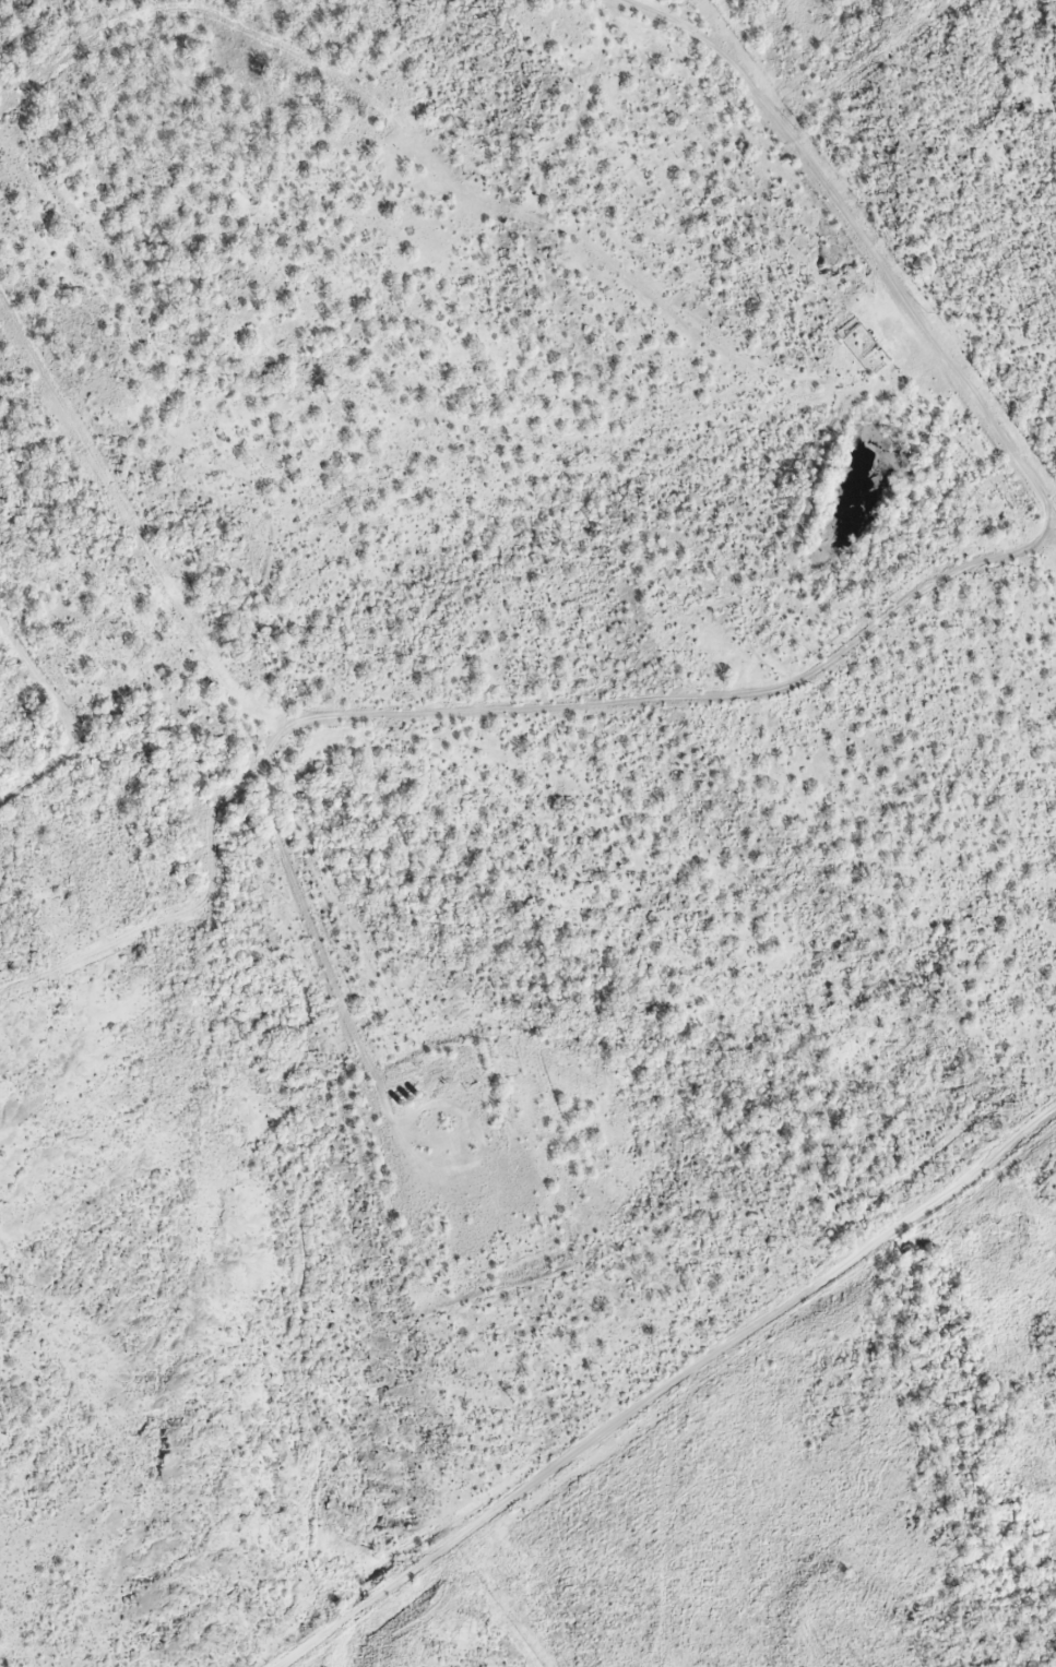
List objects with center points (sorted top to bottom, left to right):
road: (771, 1359)

